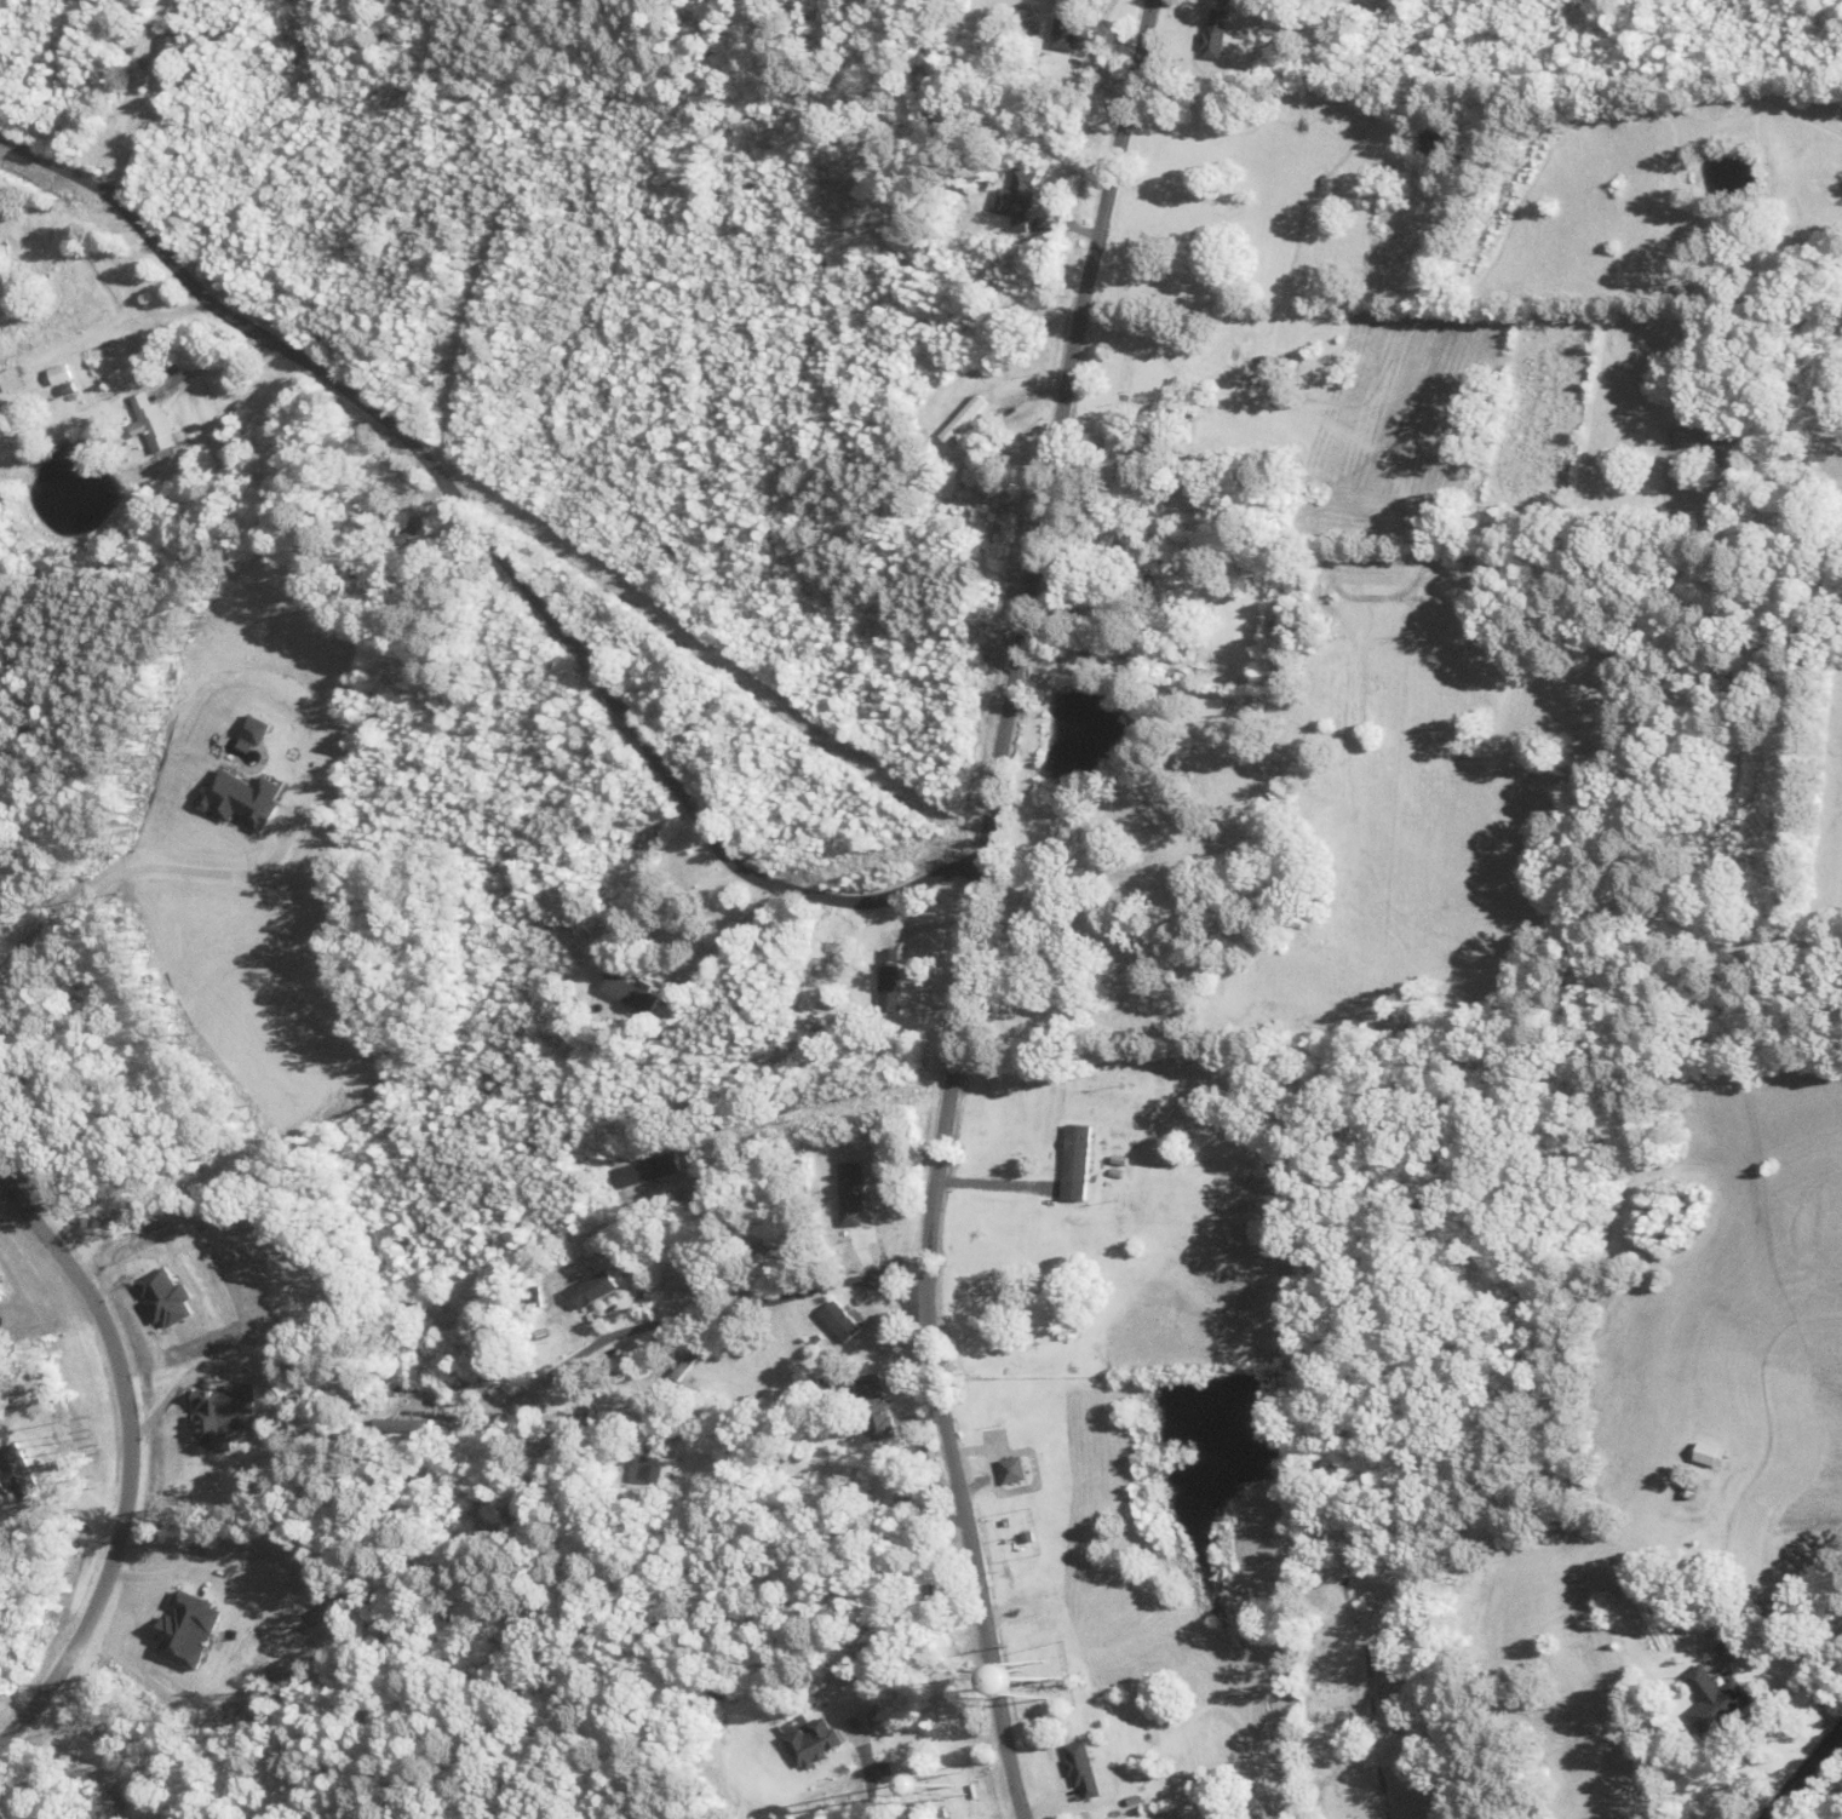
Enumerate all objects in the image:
building: (1215, 33)
building: (1067, 35)
building: (171, 40)
building: (12, 279)
building: (13, 379)
building: (155, 423)
building: (412, 529)
road: (497, 550)
road: (974, 907)
building: (893, 979)
building: (633, 993)
building: (1079, 1161)
building: (761, 1247)
building: (704, 1276)
building: (598, 1289)
road: (710, 1312)
building: (844, 1321)
building: (692, 1360)
building: (877, 1406)
building: (1712, 1454)
road: (130, 1463)
building: (654, 1468)
building: (1015, 1470)
building: (894, 1487)
water tower: (1040, 1681)
building: (1714, 1702)
park: (1376, 1706)
building: (815, 1744)
building: (1073, 1772)
road: (1803, 1773)
water tower: (956, 1785)

